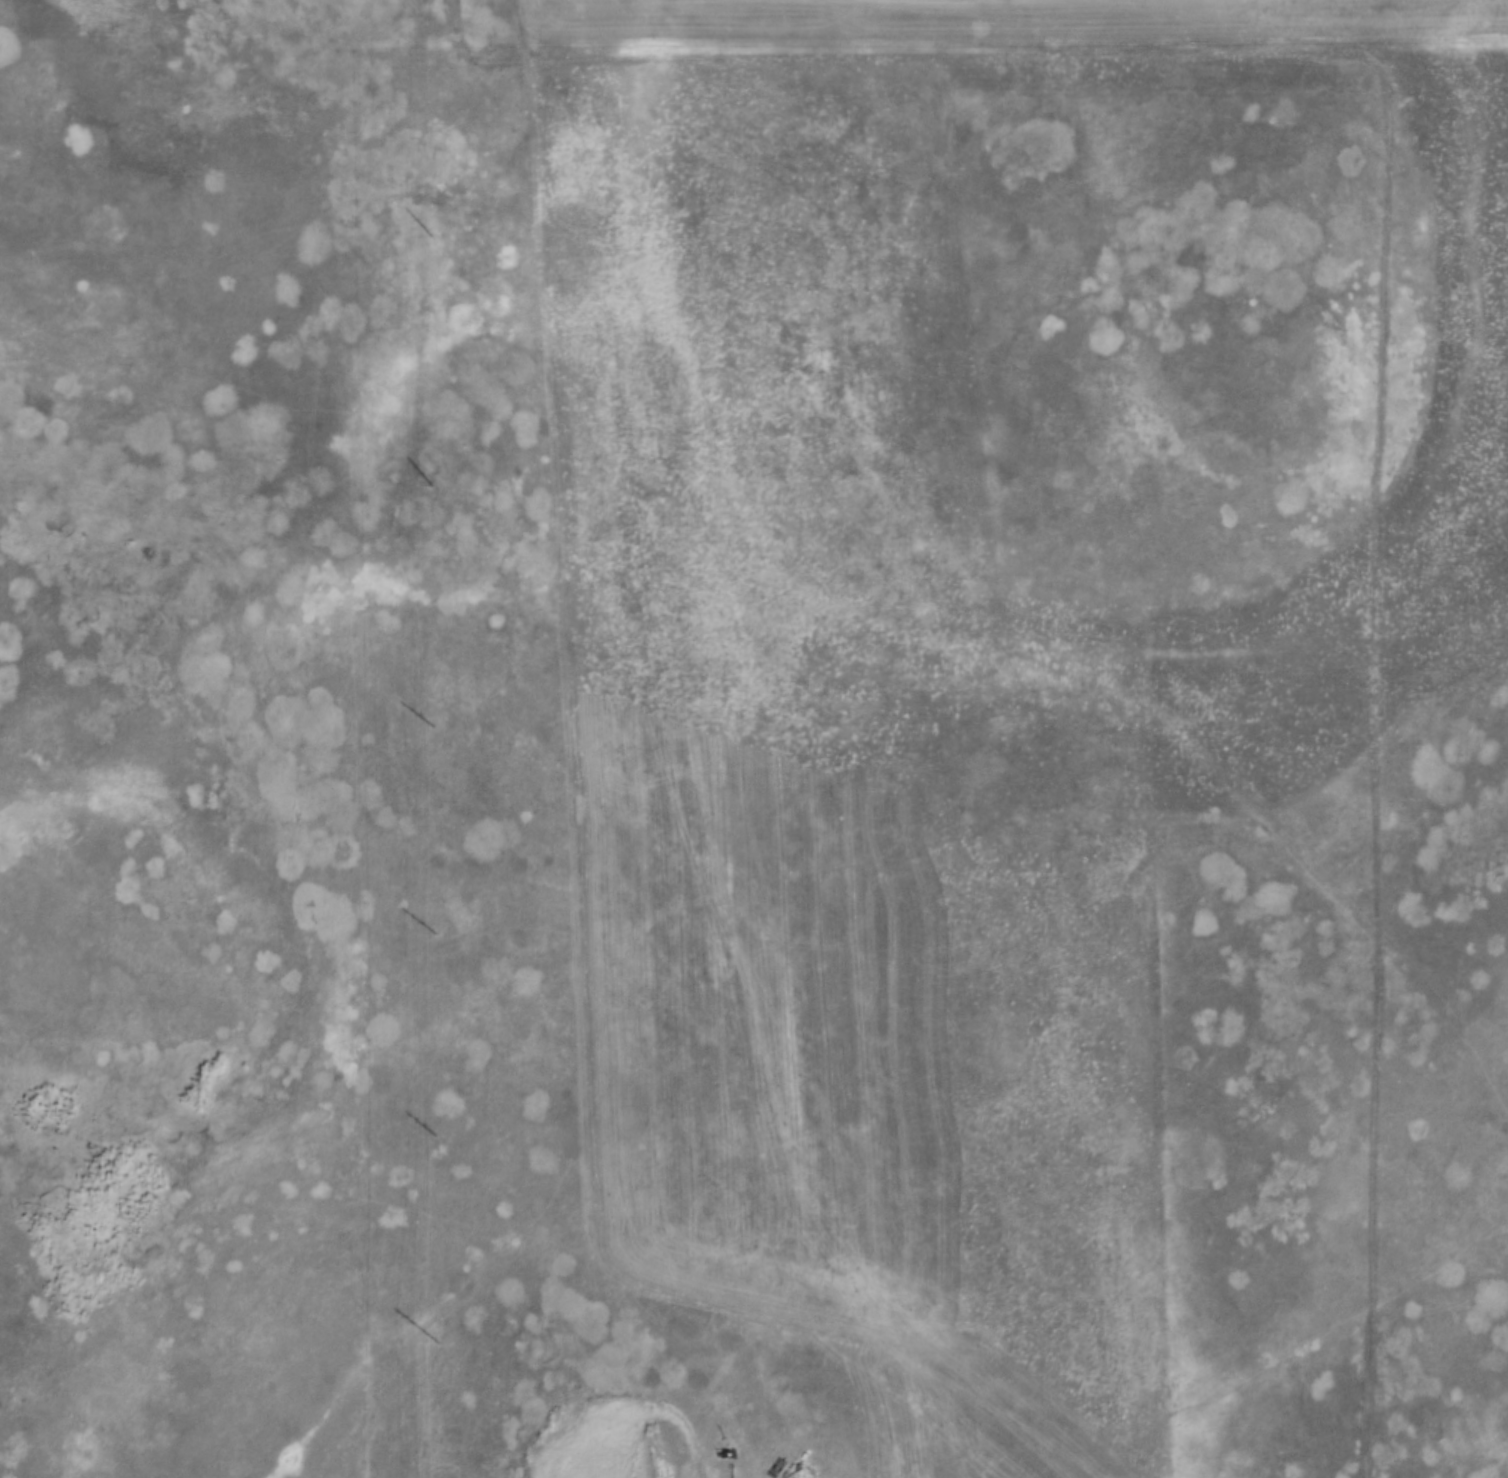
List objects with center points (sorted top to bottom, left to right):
road: (576, 915)

